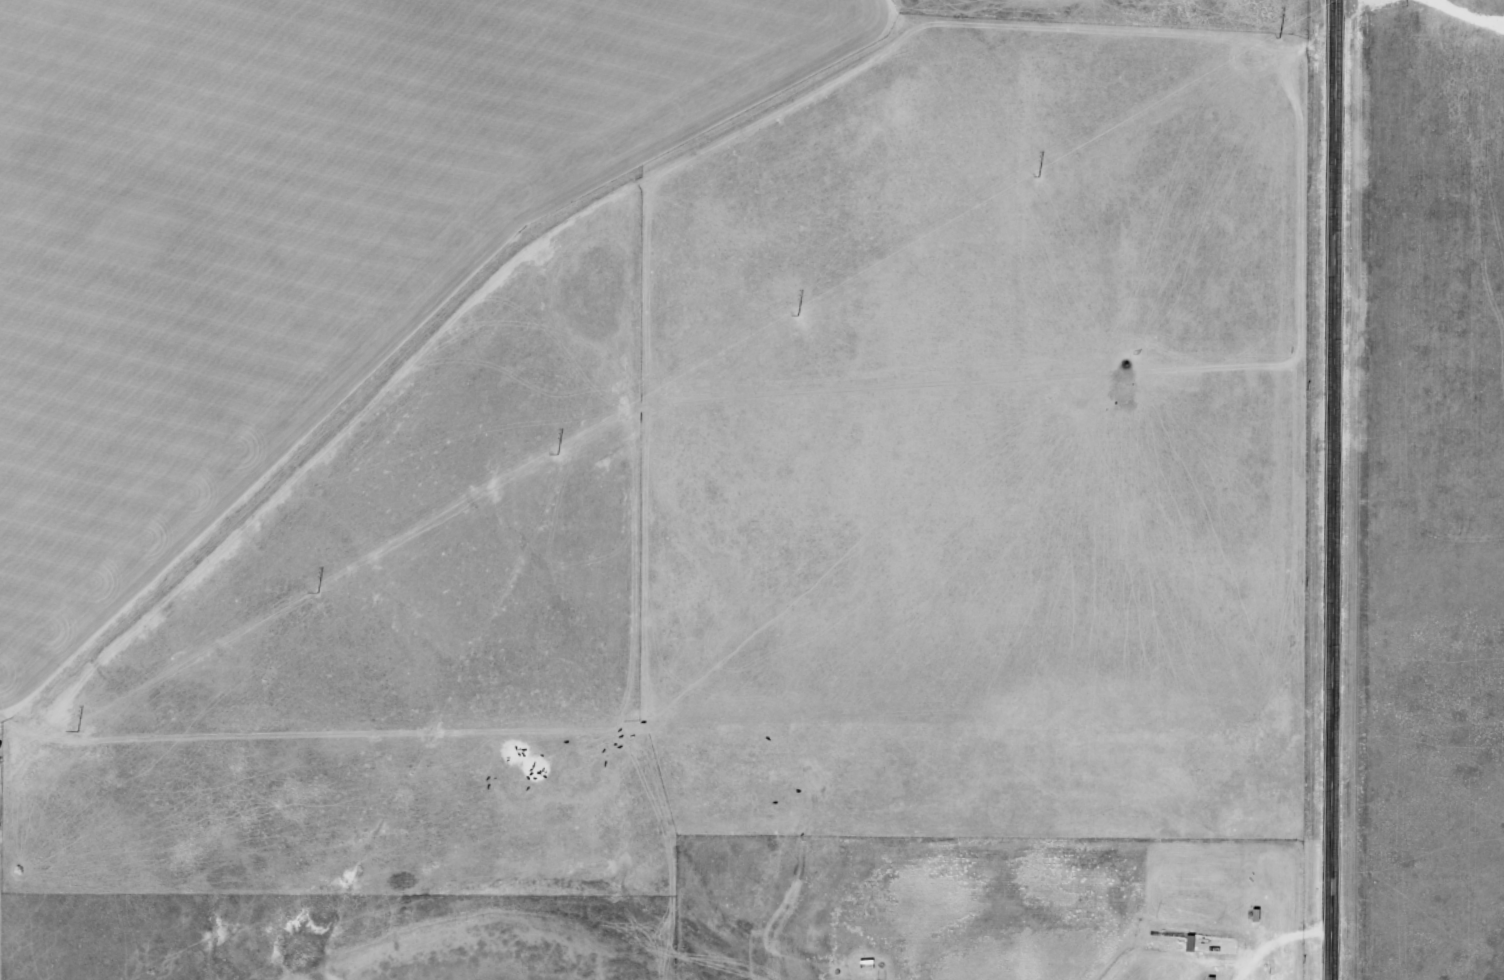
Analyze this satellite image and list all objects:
power tower: (1244, 56)
power tower: (980, 212)
power tower: (725, 362)
road: (1334, 489)
power tower: (471, 505)
power tower: (215, 652)

